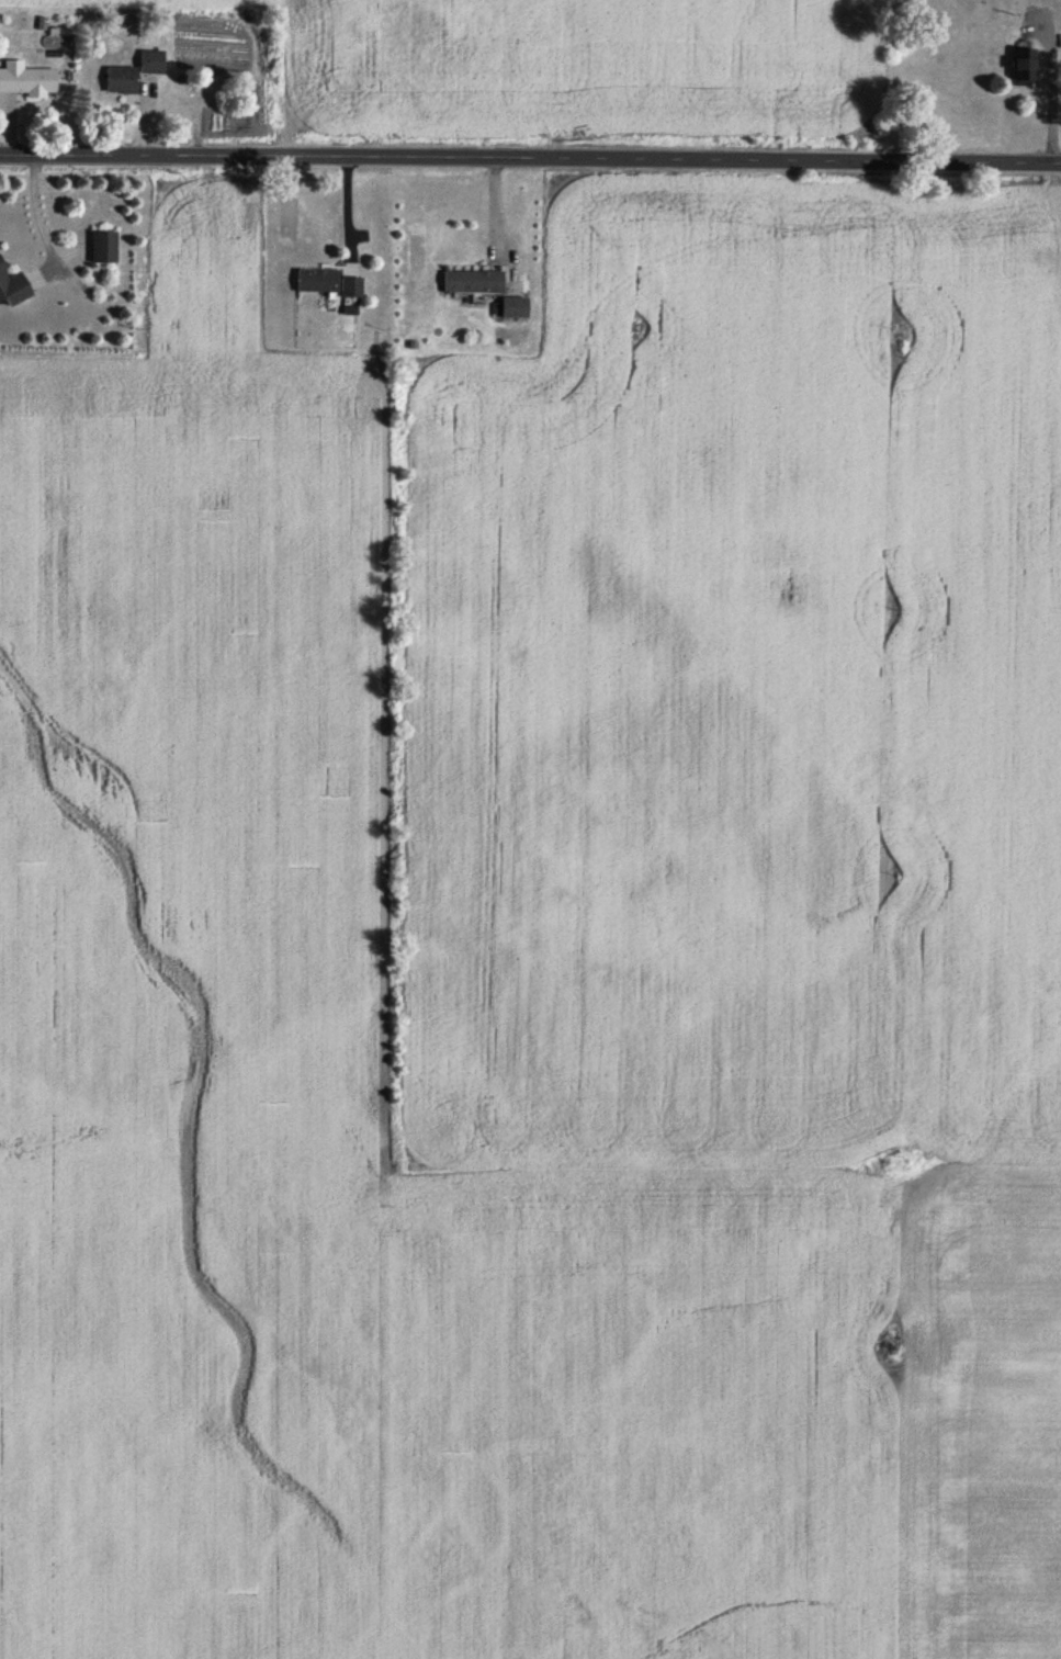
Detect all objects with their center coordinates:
building: (148, 65)
building: (1020, 70)
building: (24, 82)
building: (117, 83)
road: (1050, 97)
road: (530, 166)
building: (101, 250)
building: (314, 283)
building: (470, 284)
building: (348, 291)
building: (511, 311)

